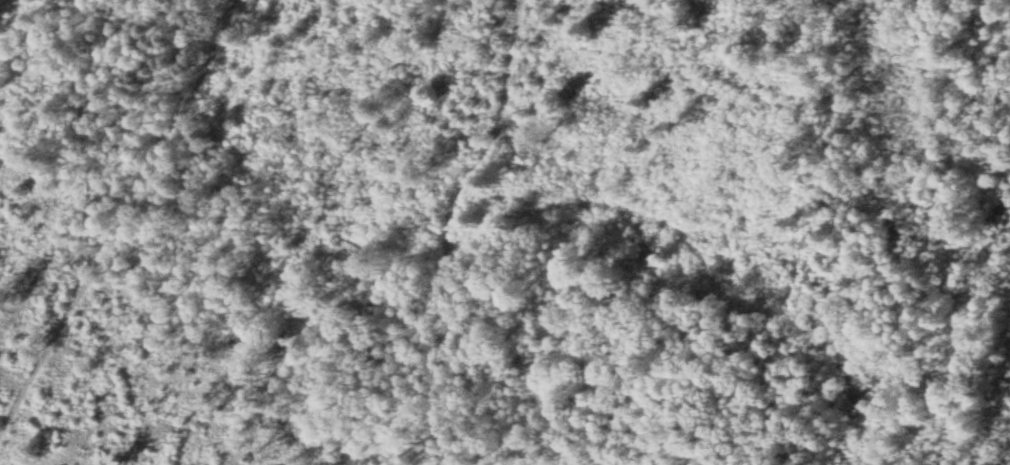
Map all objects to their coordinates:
road: (491, 148)
road: (99, 163)
road: (126, 208)
road: (332, 226)
road: (445, 377)

